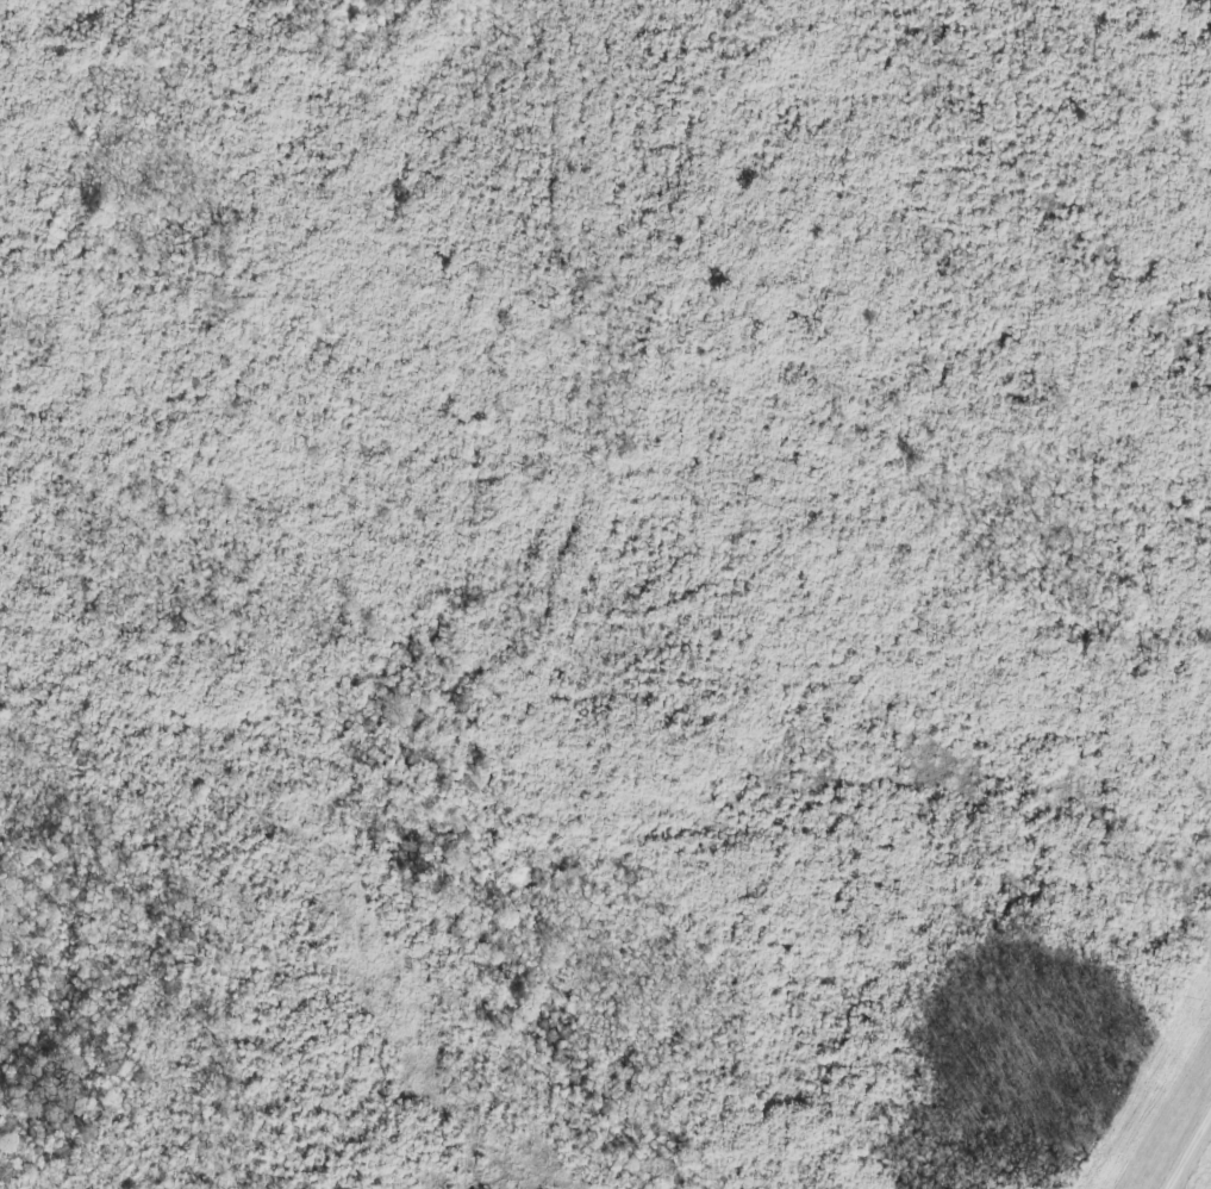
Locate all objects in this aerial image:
road: (1194, 1162)

